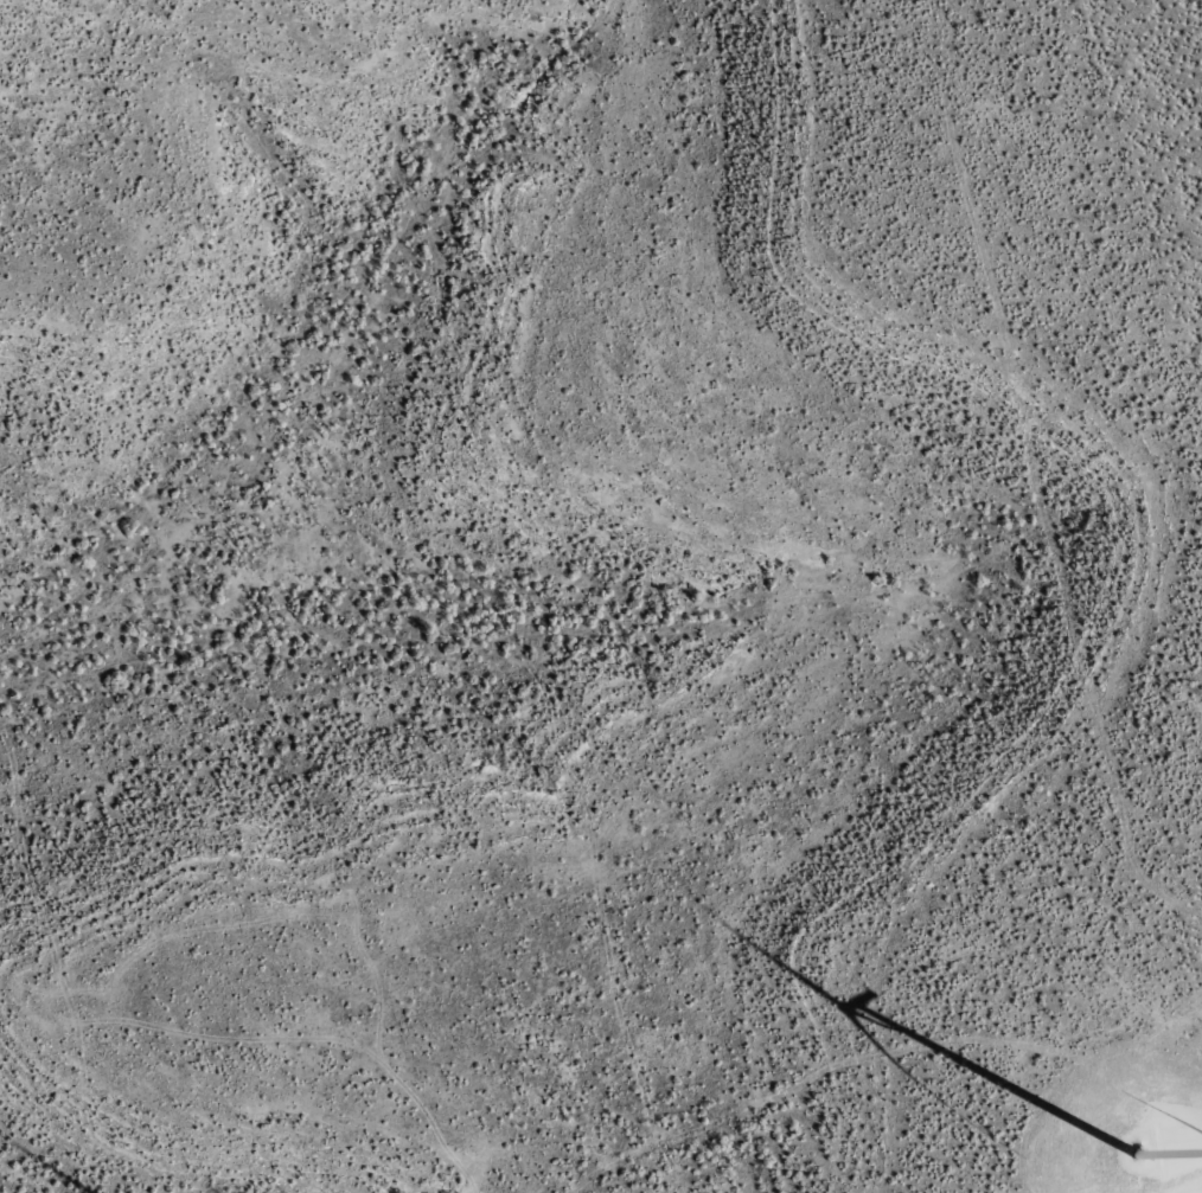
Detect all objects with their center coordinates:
wind turbine: (1161, 1142)

